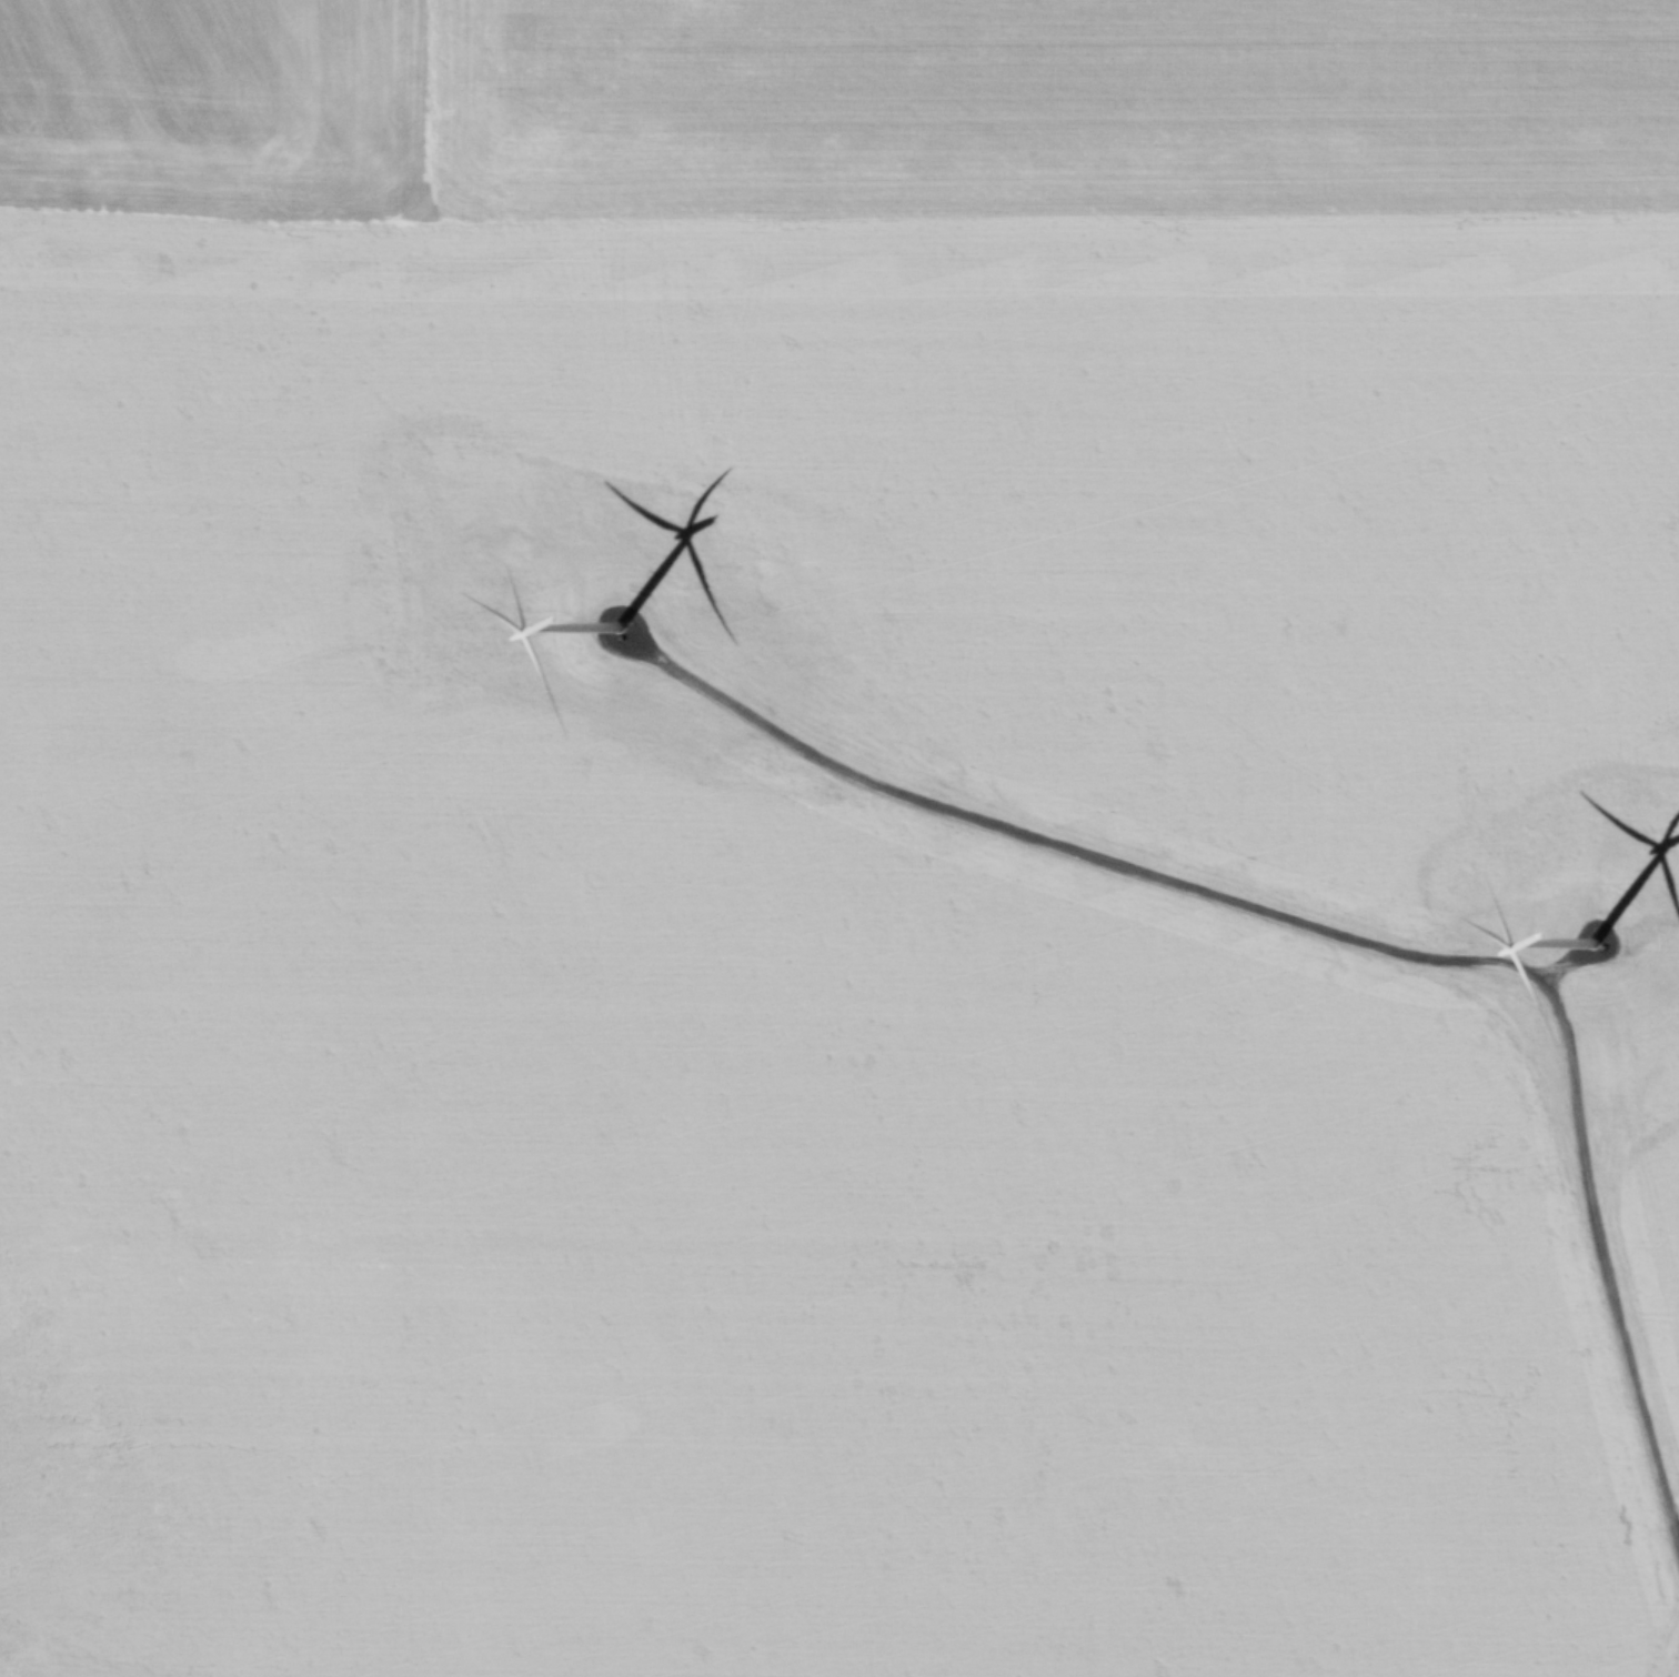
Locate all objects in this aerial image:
wind turbine: (616, 624)
road: (1346, 934)
wind turbine: (1592, 942)

